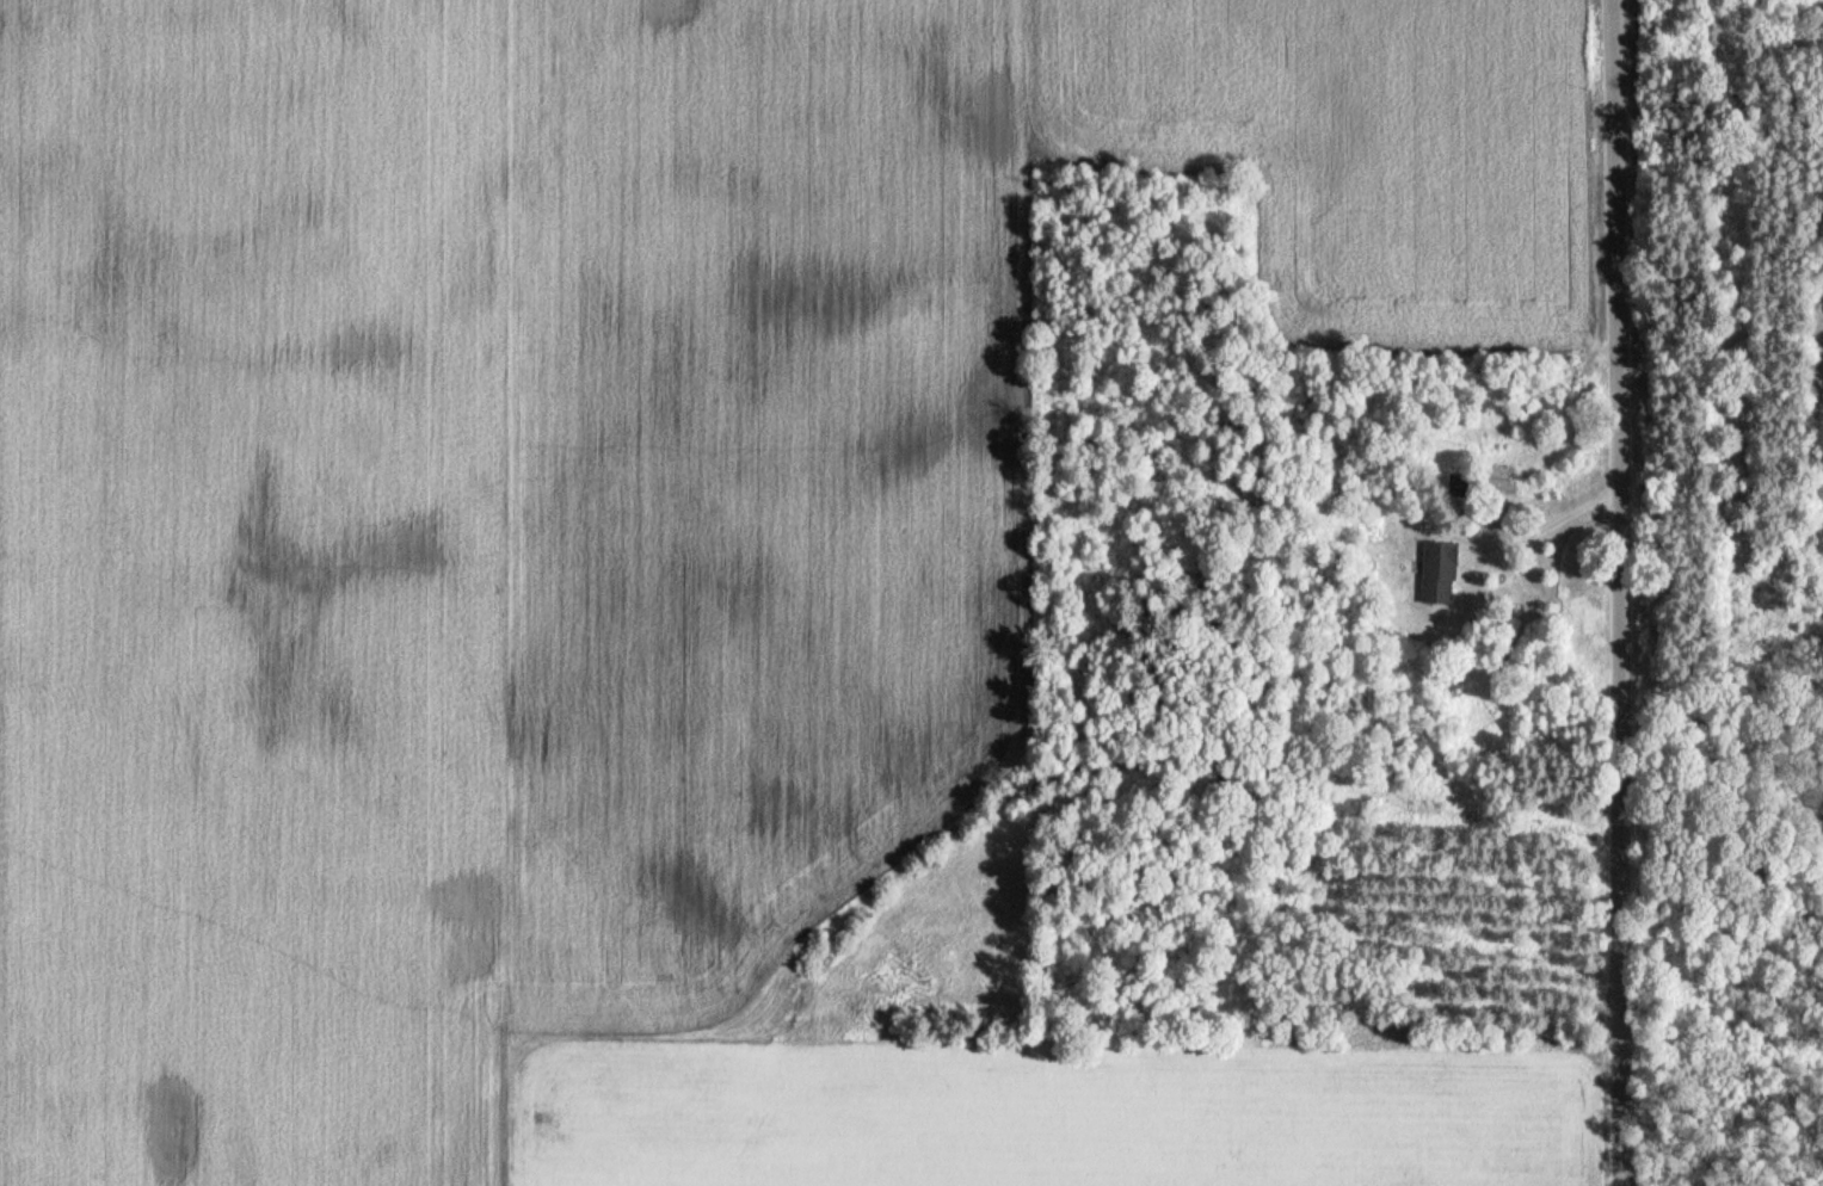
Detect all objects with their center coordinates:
building: (1465, 484)
building: (1440, 573)
road: (1614, 593)

